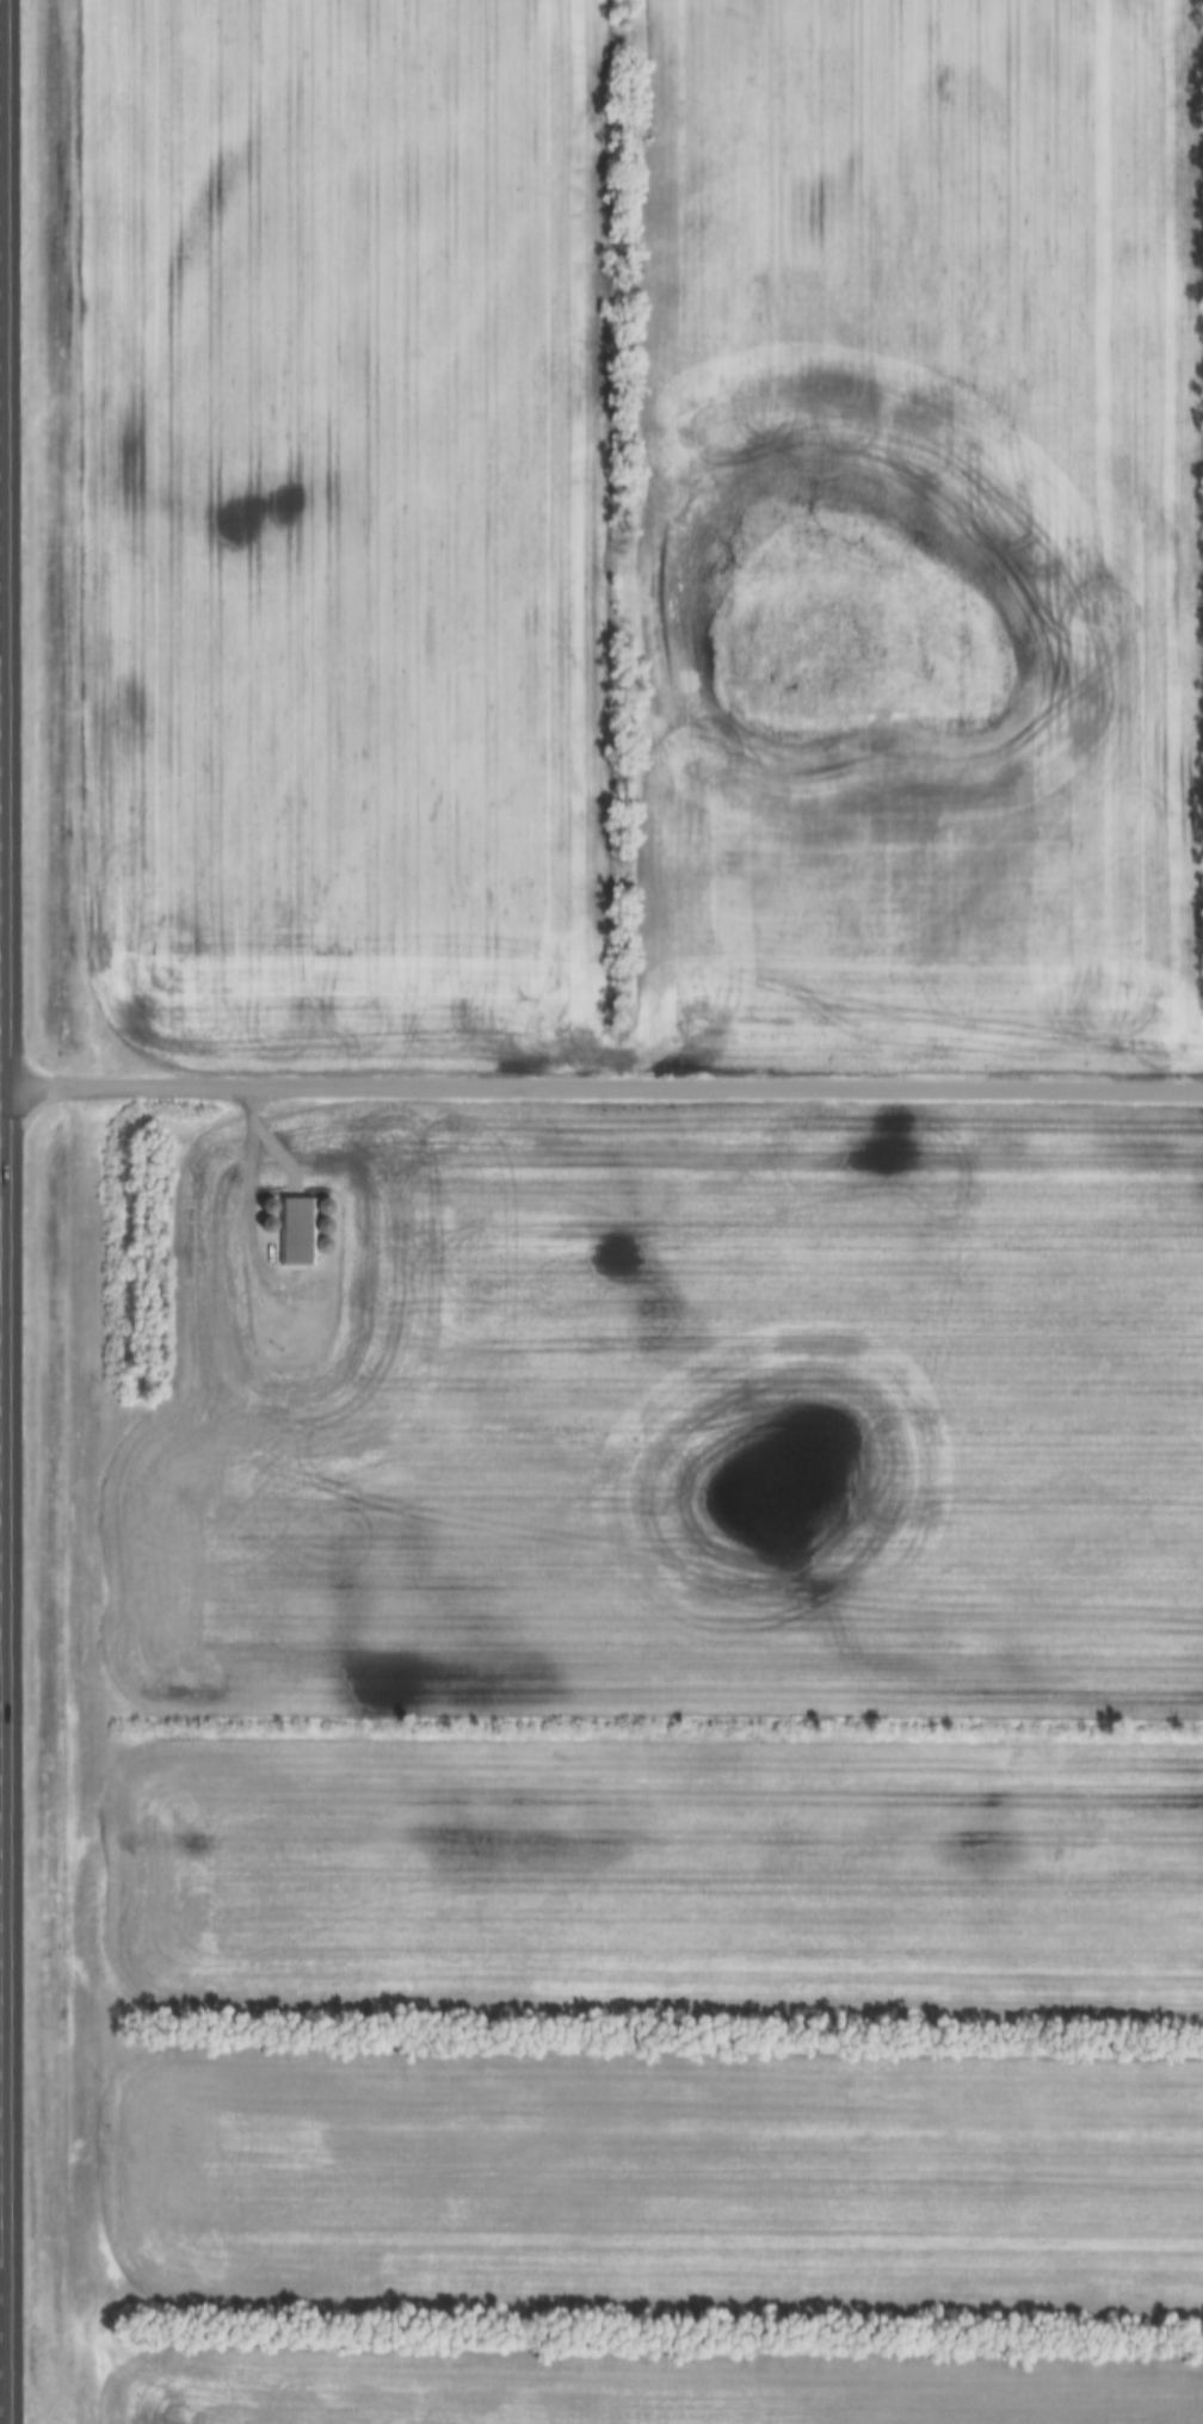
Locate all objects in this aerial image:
road: (604, 1079)
road: (2, 1080)
road: (257, 1202)
building: (264, 1204)
road: (4, 1211)
building: (301, 1230)

